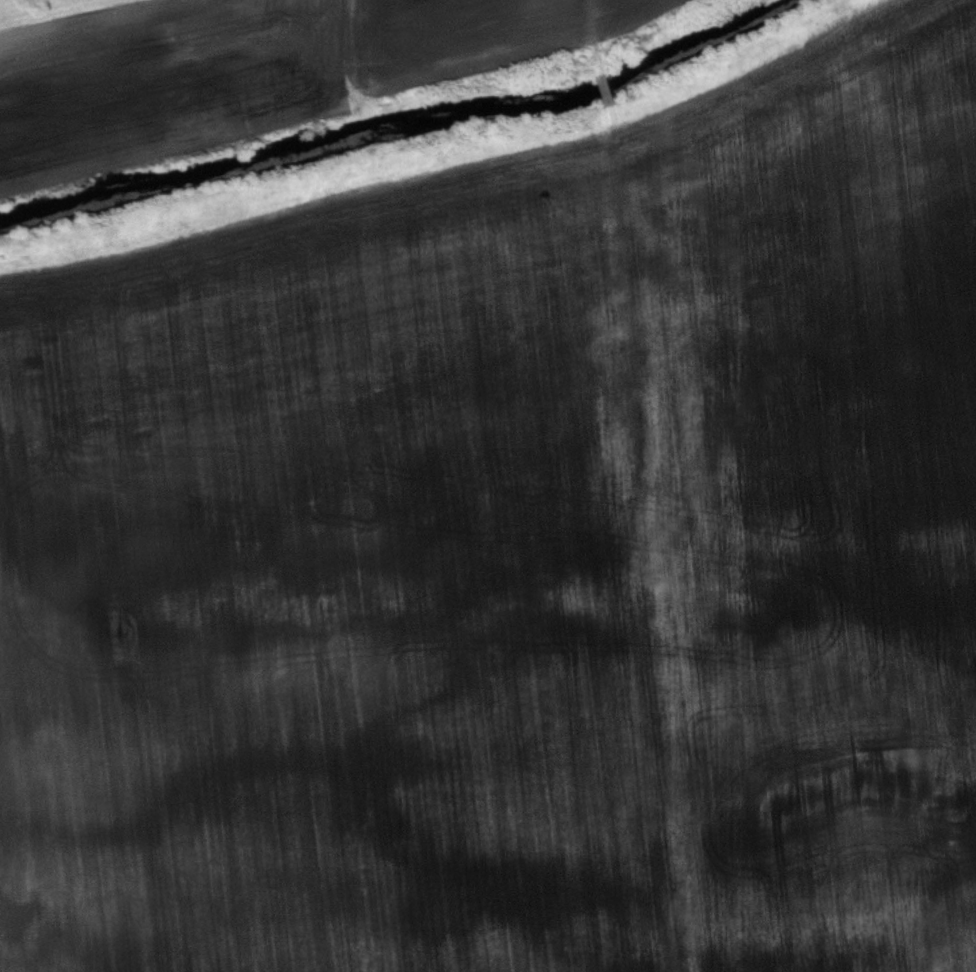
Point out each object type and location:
road: (599, 37)

